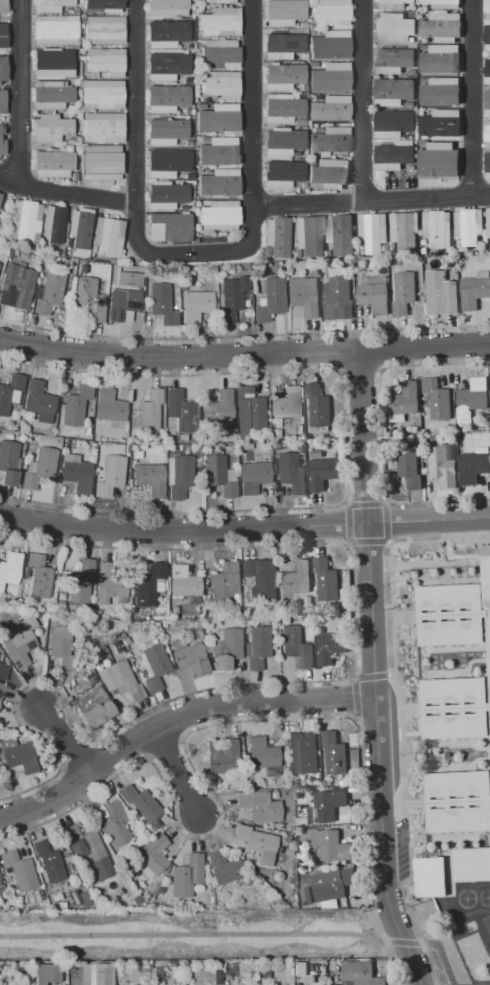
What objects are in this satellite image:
building: (222, 1)
building: (442, 3)
building: (393, 4)
building: (50, 5)
building: (104, 5)
building: (4, 6)
building: (167, 8)
building: (198, 9)
building: (487, 9)
building: (75, 10)
building: (70, 11)
building: (282, 13)
building: (329, 13)
building: (81, 19)
building: (220, 22)
building: (81, 25)
building: (440, 26)
building: (394, 28)
building: (104, 30)
building: (55, 31)
building: (167, 33)
building: (4, 36)
building: (488, 36)
building: (329, 44)
building: (189, 46)
building: (282, 46)
building: (81, 51)
building: (220, 54)
building: (443, 57)
building: (82, 58)
building: (393, 59)
building: (105, 62)
building: (53, 64)
building: (166, 66)
building: (3, 68)
building: (487, 71)
building: (283, 76)
building: (328, 76)
building: (187, 80)
building: (80, 83)
building: (221, 85)
building: (392, 91)
building: (438, 91)
road: (15, 92)
building: (102, 94)
building: (51, 95)
road: (470, 97)
building: (166, 98)
building: (487, 99)
road: (360, 100)
road: (134, 101)
building: (2, 102)
road: (251, 102)
building: (409, 104)
building: (197, 106)
building: (204, 106)
building: (283, 109)
building: (329, 110)
building: (187, 111)
building: (421, 112)
building: (79, 118)
building: (220, 119)
building: (440, 123)
building: (392, 124)
building: (103, 127)
building: (1, 129)
building: (51, 129)
building: (166, 131)
building: (487, 134)
building: (77, 138)
building: (202, 139)
building: (330, 141)
building: (282, 142)
building: (188, 143)
building: (2, 147)
building: (220, 151)
building: (394, 155)
building: (437, 157)
building: (101, 162)
building: (167, 163)
building: (52, 164)
building: (486, 165)
building: (411, 167)
building: (282, 174)
building: (329, 174)
building: (74, 177)
building: (189, 177)
building: (219, 183)
road: (66, 193)
building: (0, 195)
building: (166, 195)
road: (370, 200)
building: (183, 208)
building: (218, 215)
building: (24, 220)
building: (488, 222)
building: (53, 223)
building: (469, 226)
building: (79, 227)
building: (169, 227)
building: (437, 228)
building: (404, 231)
building: (372, 232)
building: (340, 234)
building: (309, 235)
building: (276, 236)
building: (107, 238)
building: (194, 242)
building: (67, 243)
building: (41, 247)
building: (488, 247)
building: (457, 248)
building: (426, 250)
building: (361, 252)
road: (189, 253)
building: (296, 253)
building: (329, 253)
building: (264, 258)
building: (464, 258)
building: (396, 262)
building: (346, 263)
building: (81, 269)
building: (210, 269)
building: (229, 269)
building: (245, 269)
building: (313, 269)
building: (114, 270)
building: (383, 270)
building: (111, 277)
building: (189, 280)
building: (182, 285)
building: (16, 286)
building: (146, 286)
building: (141, 287)
building: (403, 292)
building: (440, 292)
building: (473, 292)
building: (49, 293)
building: (373, 293)
building: (304, 295)
building: (231, 297)
building: (88, 299)
building: (270, 299)
building: (337, 299)
building: (162, 304)
building: (122, 305)
building: (196, 305)
road: (244, 336)
road: (244, 353)
building: (489, 386)
building: (10, 393)
building: (437, 399)
building: (472, 399)
building: (39, 401)
building: (403, 402)
building: (287, 403)
building: (76, 405)
building: (318, 405)
building: (109, 406)
building: (219, 407)
building: (249, 410)
building: (171, 411)
building: (182, 411)
building: (149, 412)
building: (276, 424)
building: (86, 431)
building: (275, 433)
building: (178, 437)
building: (338, 446)
building: (275, 447)
building: (300, 449)
building: (316, 453)
building: (337, 454)
building: (325, 455)
building: (60, 457)
building: (264, 458)
building: (9, 462)
building: (443, 463)
building: (474, 465)
building: (409, 467)
building: (40, 468)
building: (77, 473)
building: (290, 473)
building: (321, 473)
building: (219, 475)
building: (111, 476)
building: (178, 476)
building: (253, 477)
building: (150, 478)
road: (244, 529)
flagpole: (458, 541)
building: (10, 569)
building: (39, 577)
building: (296, 578)
building: (326, 579)
building: (80, 581)
building: (109, 582)
building: (183, 582)
building: (259, 582)
building: (149, 585)
building: (222, 585)
building: (308, 599)
building: (60, 604)
building: (316, 608)
building: (174, 610)
building: (455, 610)
building: (307, 617)
building: (268, 620)
building: (155, 626)
building: (121, 636)
building: (103, 640)
building: (331, 641)
building: (20, 642)
building: (115, 644)
building: (63, 645)
building: (296, 646)
building: (257, 647)
building: (225, 648)
building: (275, 648)
building: (118, 650)
building: (188, 656)
building: (0, 658)
building: (155, 668)
road: (373, 670)
building: (3, 671)
building: (120, 681)
building: (88, 698)
building: (0, 701)
building: (453, 707)
building: (96, 714)
road: (174, 718)
road: (65, 741)
building: (302, 753)
building: (337, 754)
building: (18, 755)
building: (222, 756)
building: (263, 756)
road: (176, 772)
building: (299, 782)
building: (343, 783)
building: (352, 788)
building: (307, 793)
building: (301, 794)
building: (457, 801)
building: (140, 802)
building: (326, 805)
building: (259, 806)
building: (301, 821)
building: (340, 821)
building: (347, 822)
building: (115, 823)
building: (142, 823)
building: (157, 825)
building: (291, 829)
building: (287, 840)
building: (257, 843)
building: (86, 844)
building: (330, 844)
building: (300, 849)
building: (285, 851)
building: (109, 852)
building: (152, 856)
building: (171, 859)
building: (48, 862)
building: (471, 864)
building: (225, 868)
building: (19, 870)
building: (166, 870)
building: (187, 876)
building: (429, 877)
building: (143, 880)
building: (0, 884)
building: (332, 885)
building: (66, 886)
building: (1, 891)
building: (118, 891)
building: (40, 894)
building: (305, 895)
building: (56, 897)
building: (75, 898)
building: (84, 899)
building: (13, 901)
building: (213, 901)
park: (188, 934)
road: (192, 934)
road: (393, 942)
road: (411, 942)
track: (474, 944)
road: (441, 956)
building: (333, 962)
building: (313, 967)
building: (300, 968)
building: (120, 969)
building: (46, 973)
building: (360, 973)
building: (76, 974)
building: (102, 974)
building: (264, 975)
building: (217, 977)
building: (227, 977)
building: (140, 984)
building: (296, 984)

